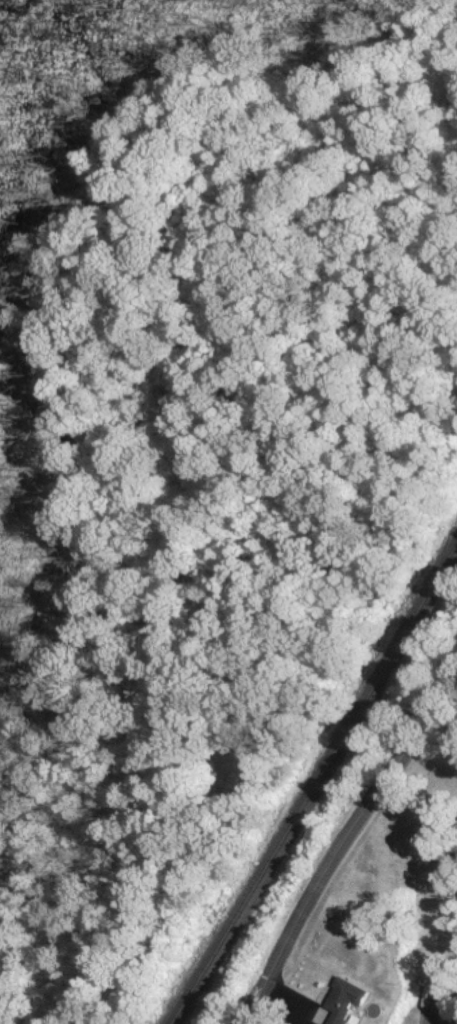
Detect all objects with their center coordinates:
railway: (318, 785)
road: (341, 850)
building: (339, 1002)

